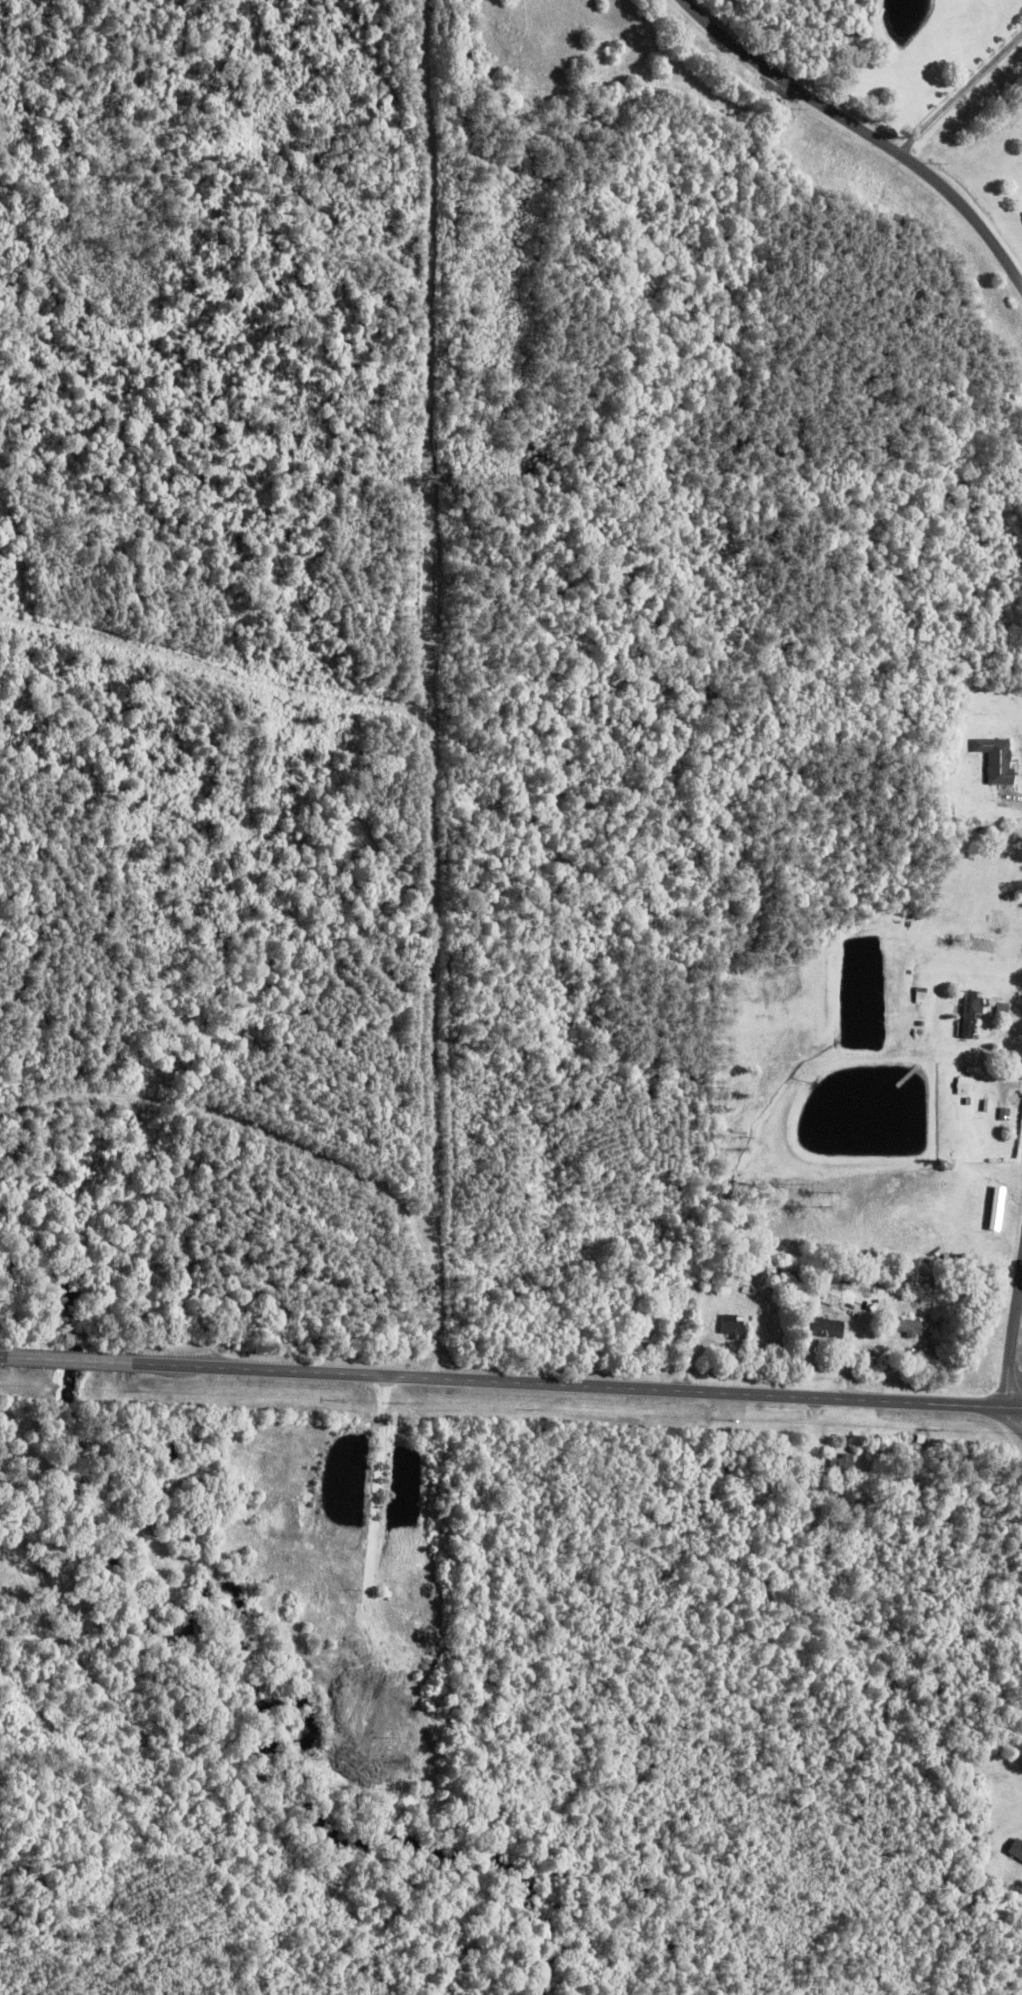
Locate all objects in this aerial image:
building: (467, 56)
road: (865, 132)
building: (996, 759)
building: (972, 1013)
building: (997, 1209)
building: (832, 1285)
building: (731, 1325)
building: (826, 1328)
building: (910, 1328)
road: (3, 1356)
road: (1017, 1356)
road: (69, 1360)
road: (576, 1385)
road: (1017, 1415)
building: (841, 1466)
building: (150, 1547)
river: (246, 1642)
building: (372, 1798)
building: (1017, 1848)

